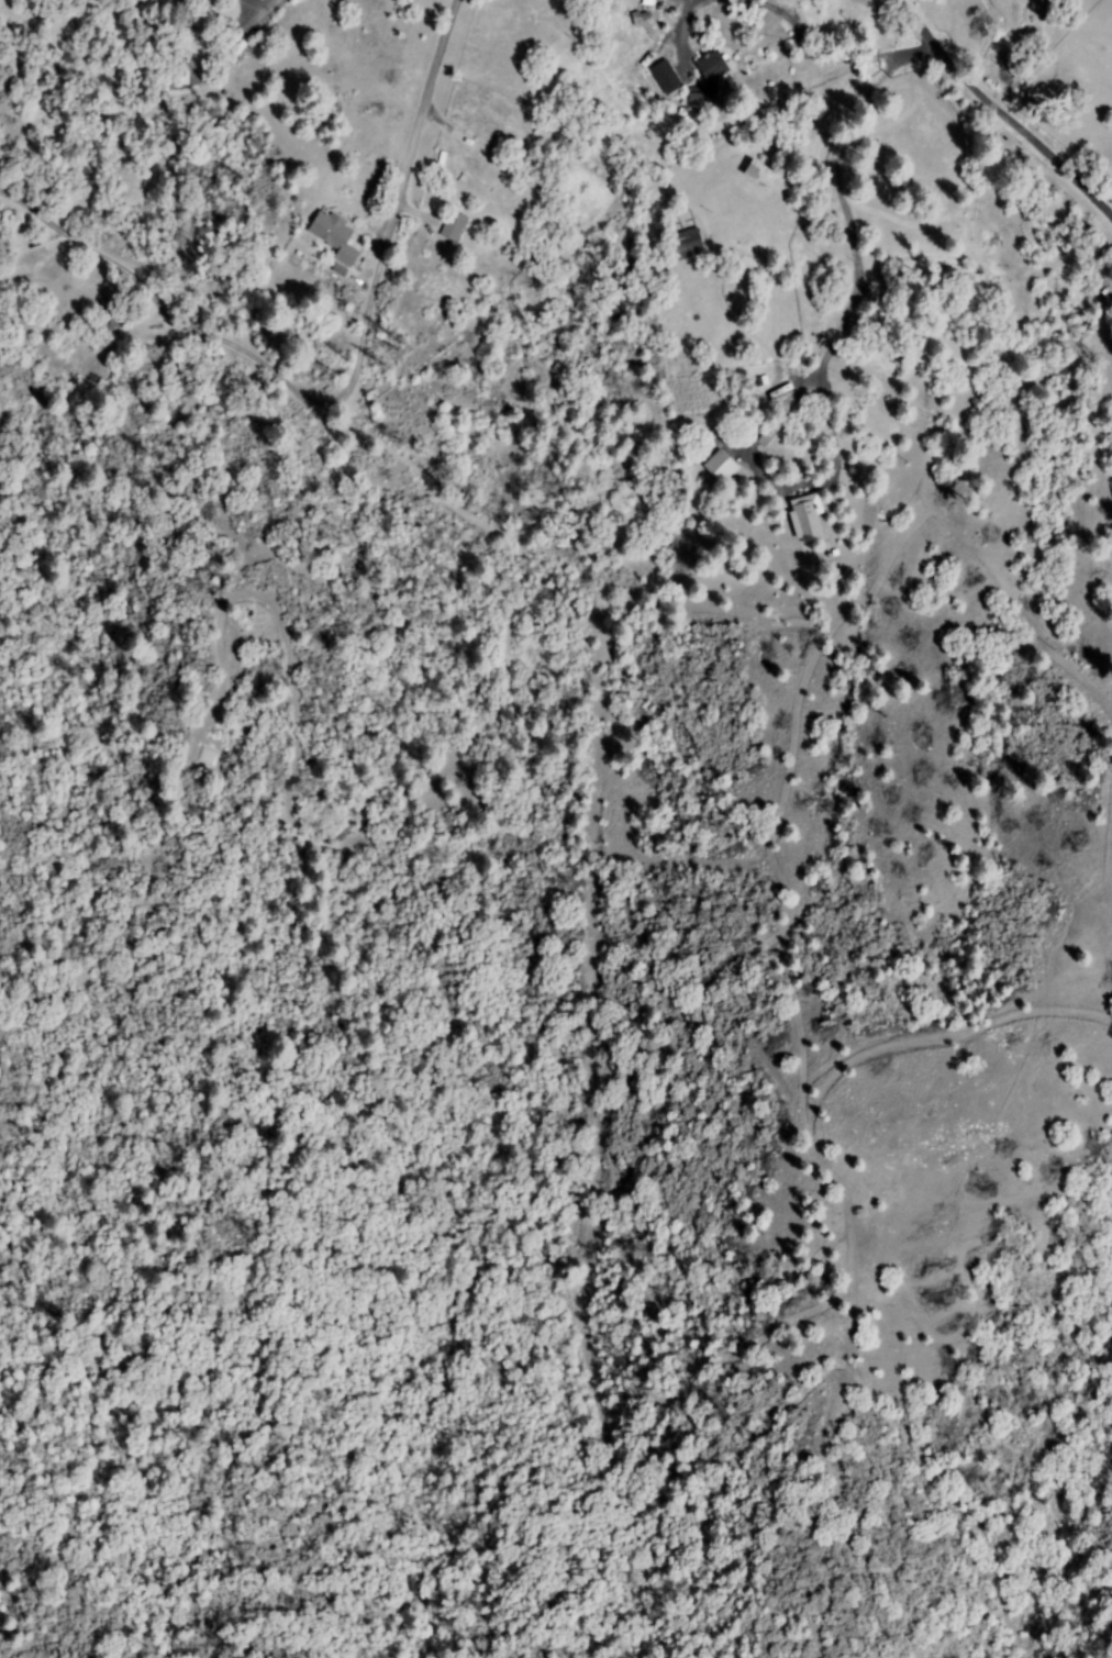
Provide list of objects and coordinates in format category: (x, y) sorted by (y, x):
building: (713, 67)
building: (667, 78)
road: (783, 89)
building: (696, 99)
road: (1005, 104)
road: (427, 108)
building: (478, 167)
building: (761, 176)
building: (455, 225)
building: (336, 236)
building: (687, 245)
building: (760, 444)

